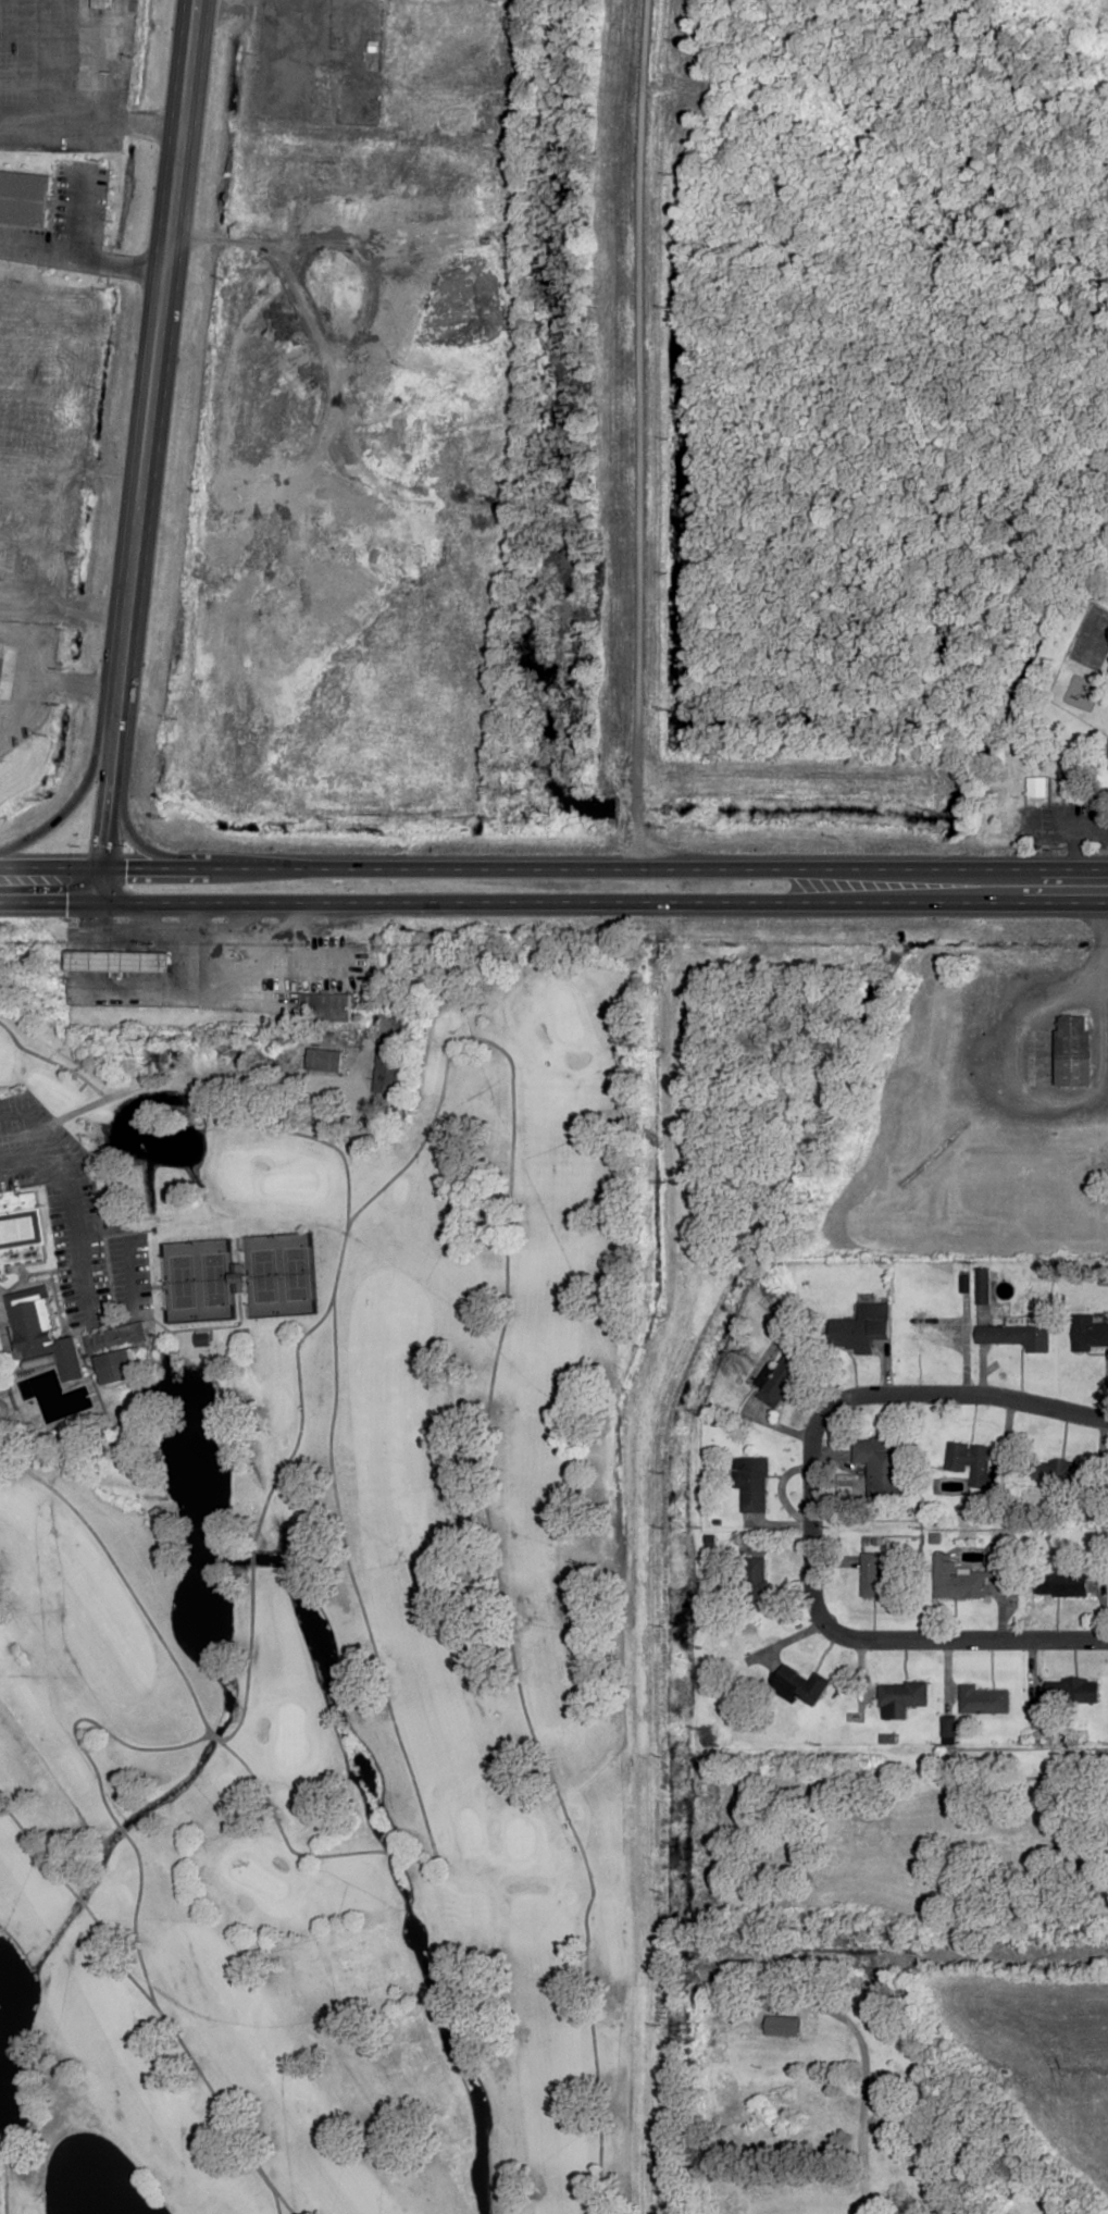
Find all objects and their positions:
building: (102, 4)
gas station: (102, 4)
road: (277, 16)
road: (37, 63)
building: (503, 63)
building: (324, 87)
road: (90, 126)
building: (24, 208)
parking lot: (70, 222)
road: (155, 352)
road: (636, 434)
building: (13, 531)
road: (46, 546)
building: (13, 562)
road: (25, 647)
road: (75, 682)
road: (18, 707)
building: (1037, 788)
road: (76, 794)
road: (109, 805)
road: (1080, 841)
road: (154, 844)
traffic signals: (105, 869)
road: (553, 869)
road: (52, 904)
traffic signals: (105, 905)
road: (607, 905)
building: (119, 957)
gas station: (119, 957)
building: (325, 1006)
building: (1074, 1050)
building: (323, 1060)
road: (49, 1061)
building: (388, 1066)
parking lot: (25, 1104)
road: (90, 1105)
parking lot: (12, 1135)
road: (32, 1157)
parking lot: (83, 1174)
parking lot: (21, 1179)
building: (20, 1229)
parking lot: (62, 1256)
parking lot: (141, 1272)
parking lot: (108, 1273)
park: (278, 1274)
building: (237, 1278)
park: (197, 1281)
road: (1, 1308)
road: (89, 1323)
road: (237, 1325)
building: (862, 1327)
building: (42, 1331)
building: (1092, 1335)
building: (1016, 1336)
building: (200, 1338)
building: (116, 1339)
building: (933, 1339)
building: (116, 1365)
building: (783, 1378)
road: (493, 1381)
road: (298, 1421)
building: (972, 1462)
building: (884, 1464)
building: (1057, 1472)
building: (754, 1485)
road: (807, 1512)
road: (646, 1526)
road: (251, 1559)
road: (347, 1567)
building: (967, 1575)
building: (875, 1579)
road: (123, 1581)
building: (755, 1584)
building: (1061, 1584)
park: (343, 1591)
building: (798, 1685)
building: (1078, 1690)
building: (901, 1698)
building: (984, 1700)
road: (90, 1722)
road: (214, 1739)
road: (221, 1741)
road: (235, 1756)
road: (121, 1830)
road: (391, 1853)
road: (78, 1901)
road: (170, 2024)
building: (793, 2114)
road: (859, 2160)
road: (276, 2204)
road: (284, 2204)

